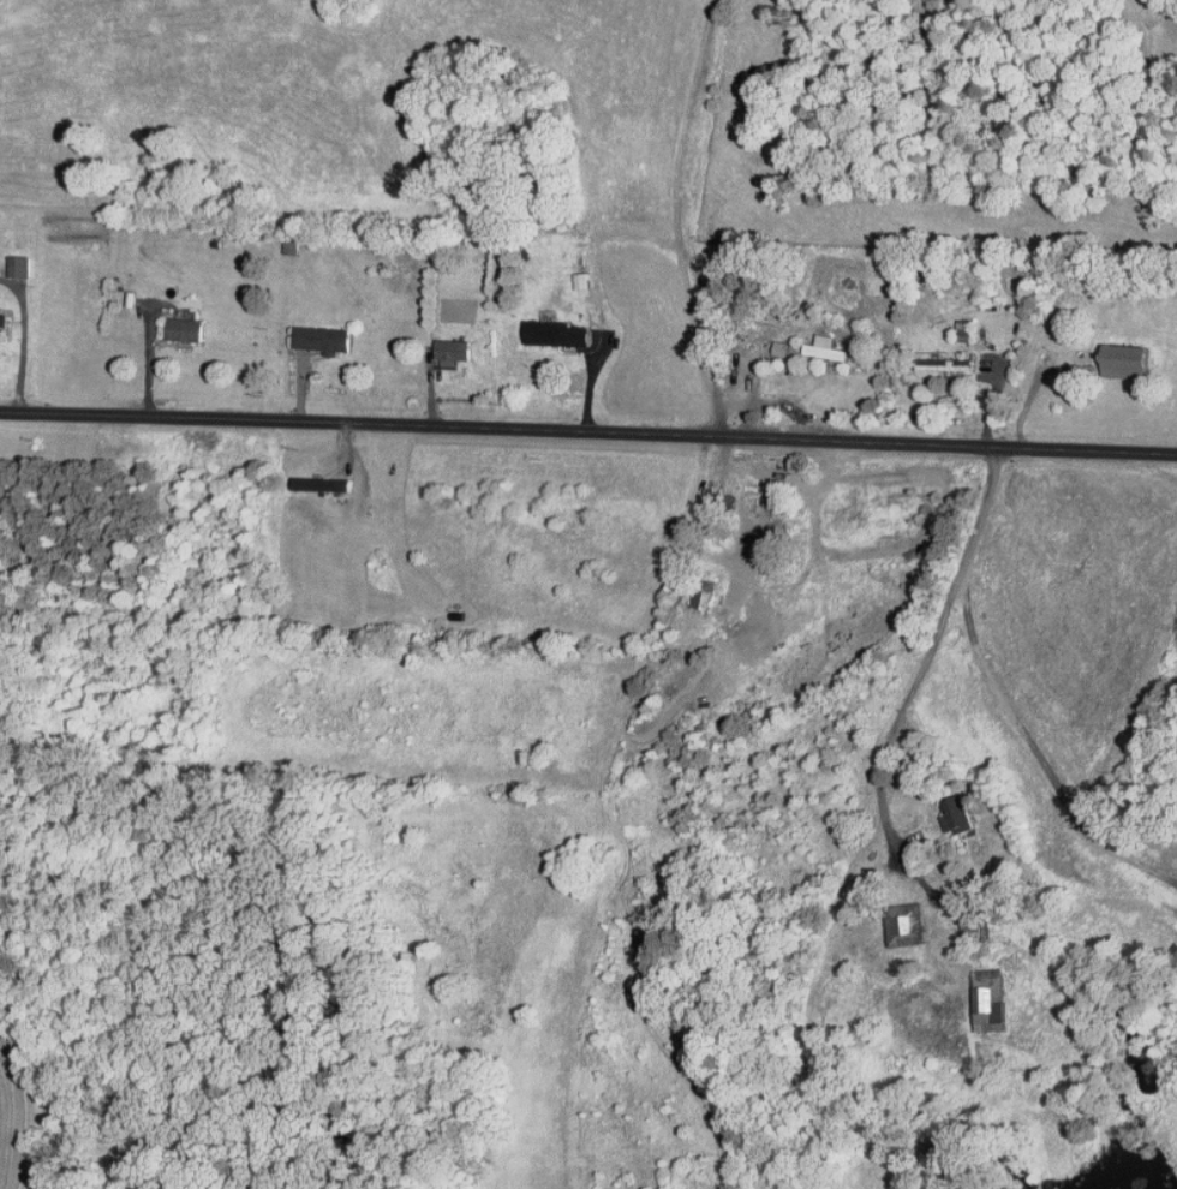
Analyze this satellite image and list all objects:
building: (18, 267)
building: (579, 281)
building: (1, 321)
building: (184, 330)
building: (963, 330)
building: (555, 334)
road: (24, 339)
building: (321, 340)
building: (824, 348)
building: (453, 352)
building: (1127, 362)
building: (944, 365)
road: (587, 440)
building: (322, 483)
road: (932, 643)
building: (955, 814)
building: (969, 916)
building: (909, 924)
building: (1172, 957)
building: (991, 999)

